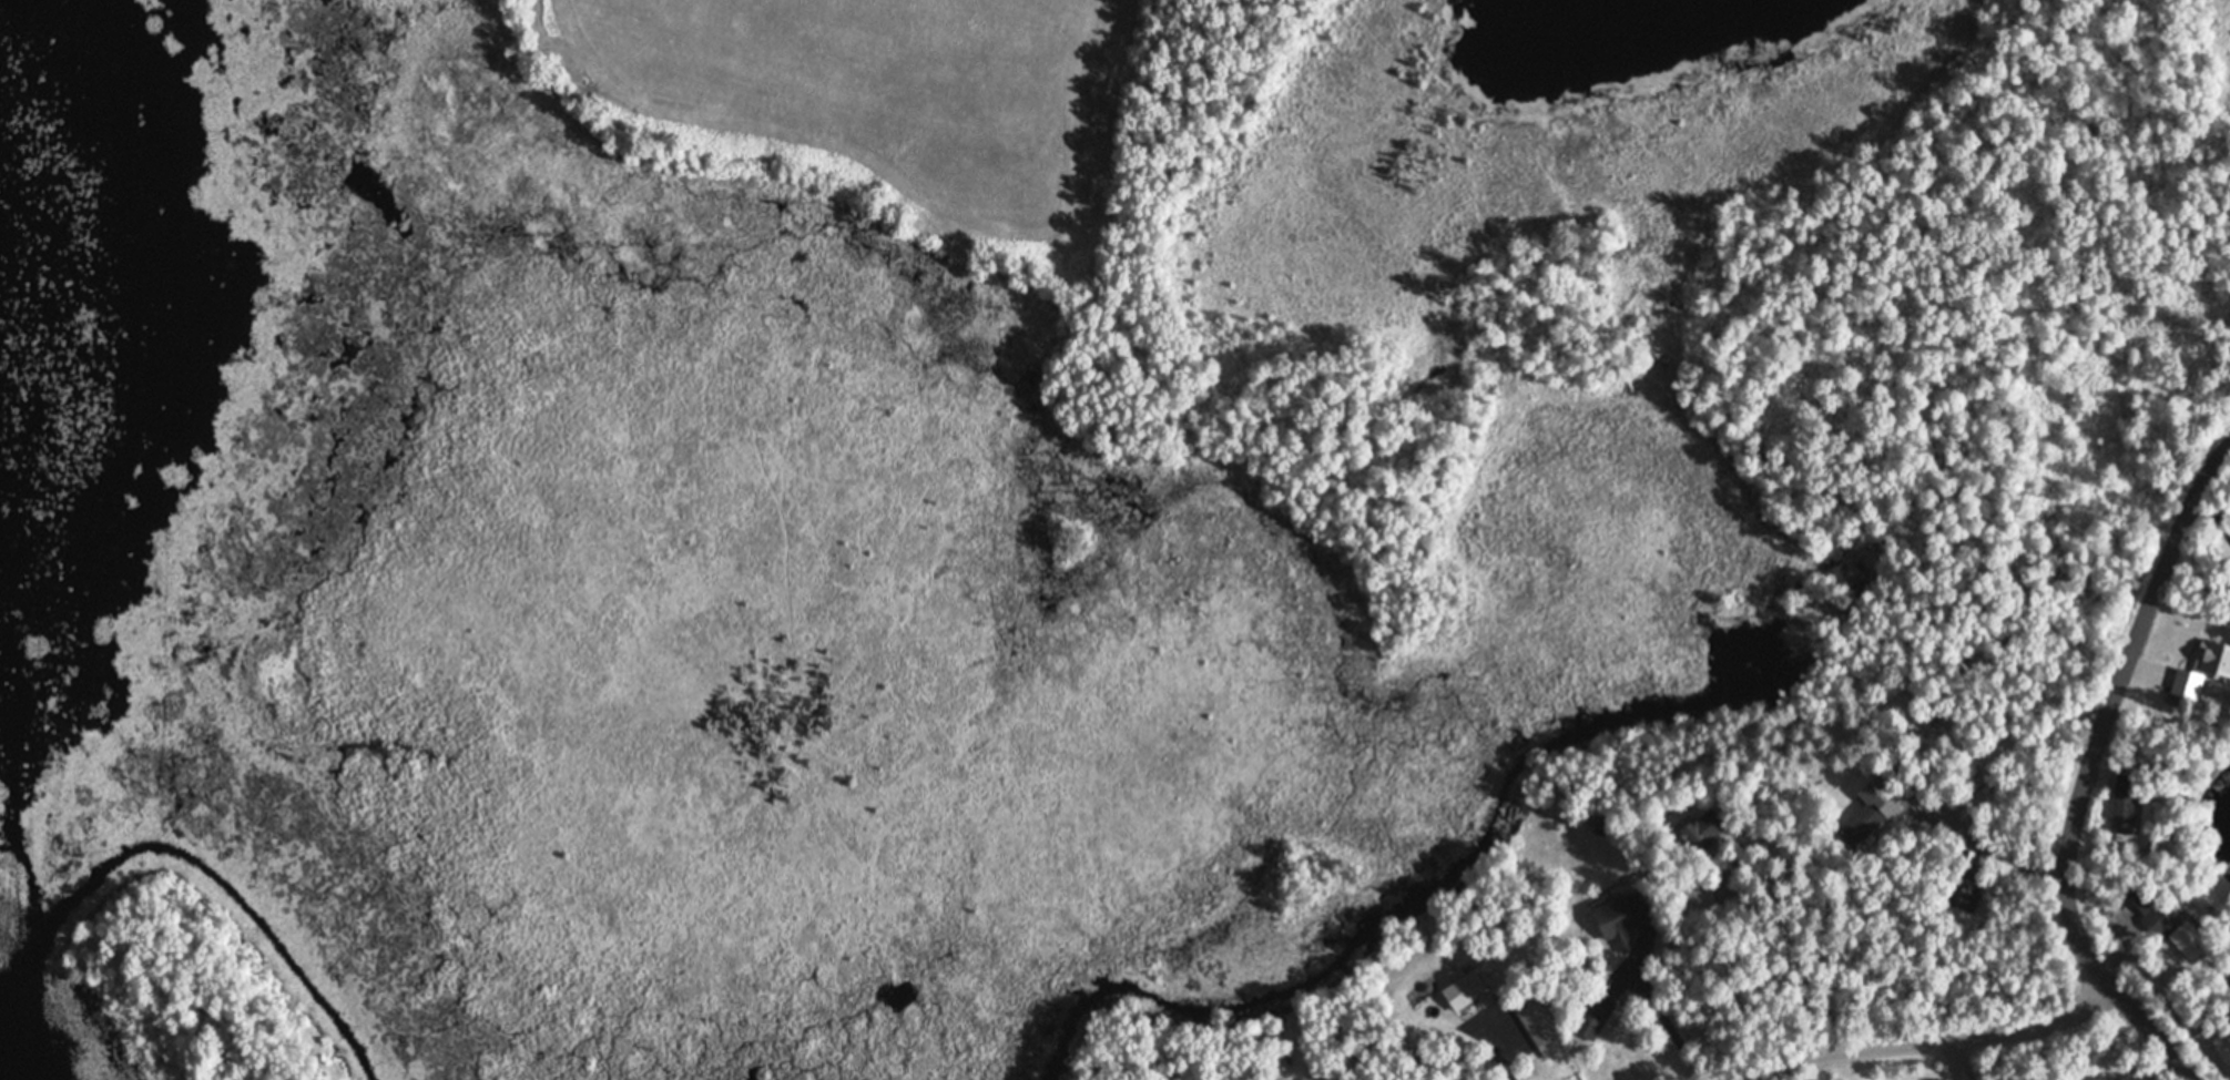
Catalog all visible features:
building: (2220, 660)
building: (2182, 680)
road: (2087, 763)
building: (2125, 805)
building: (1872, 811)
building: (1704, 831)
building: (1965, 885)
building: (1699, 898)
building: (1623, 915)
building: (2161, 918)
building: (1467, 991)
building: (1595, 1016)
building: (1535, 1021)
road: (1934, 1036)
building: (2104, 1077)

